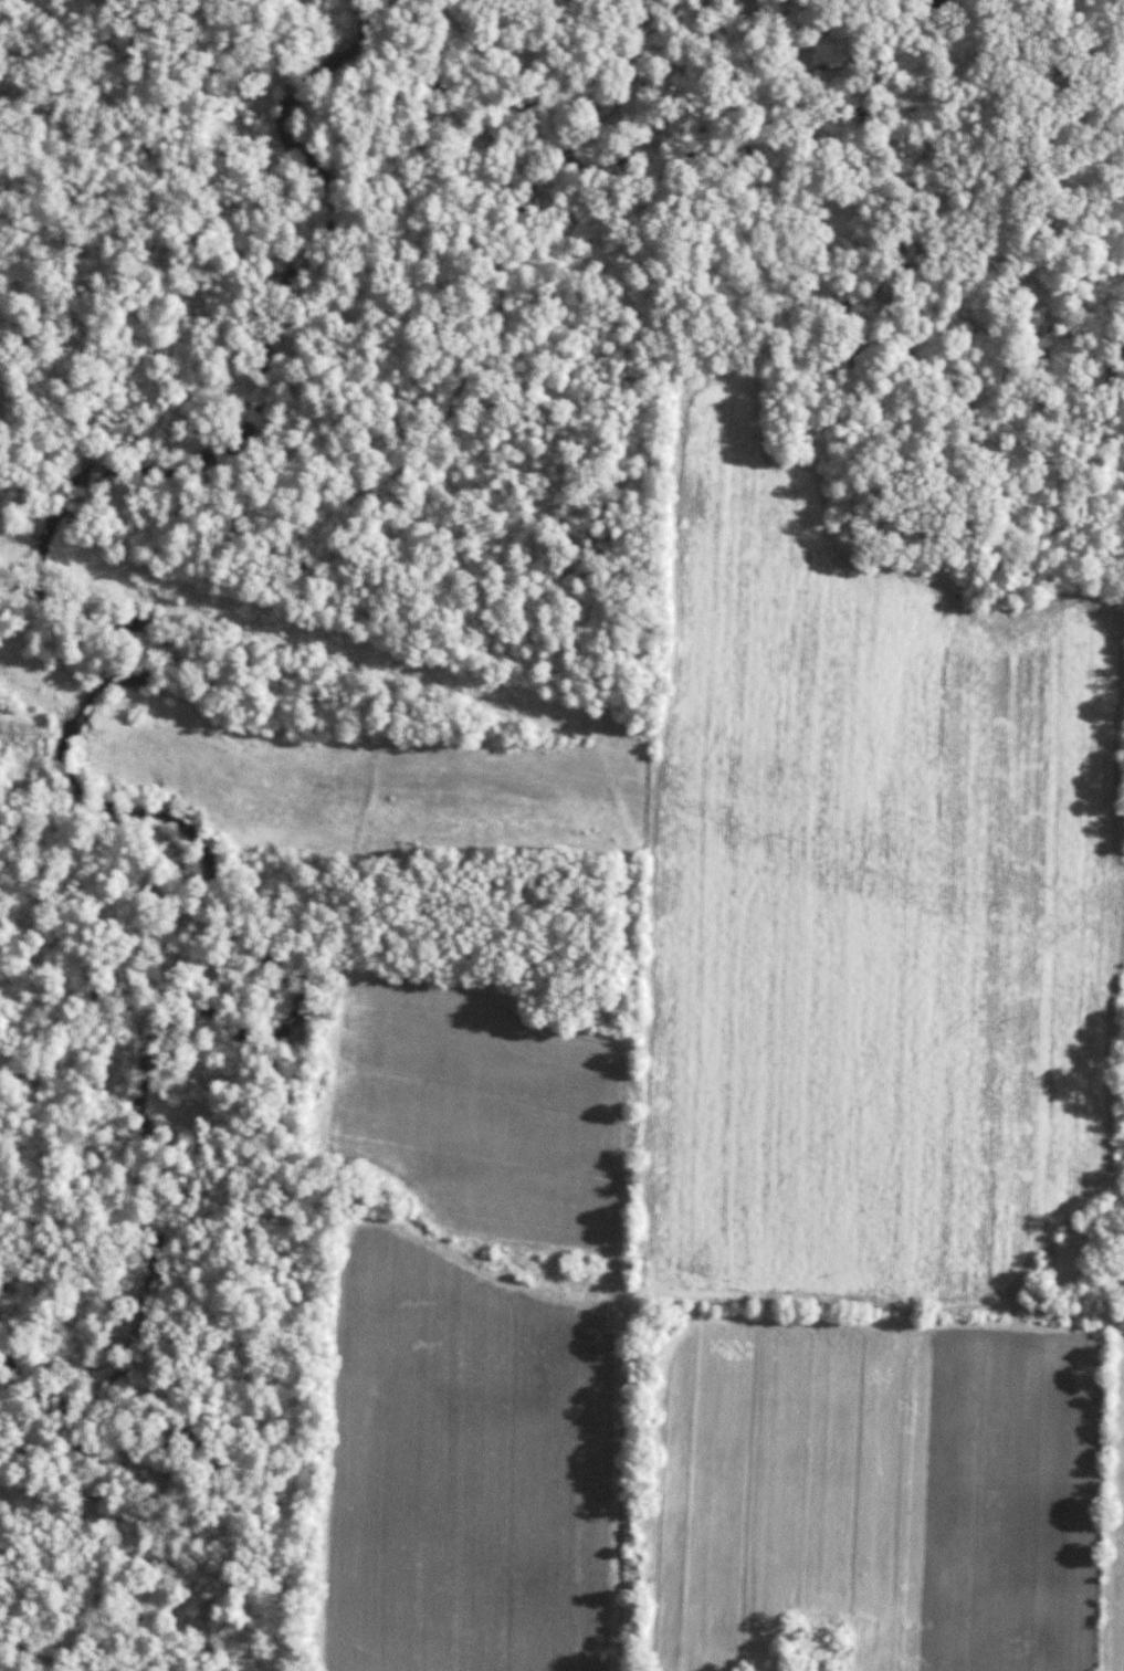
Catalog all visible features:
road: (622, 1490)

